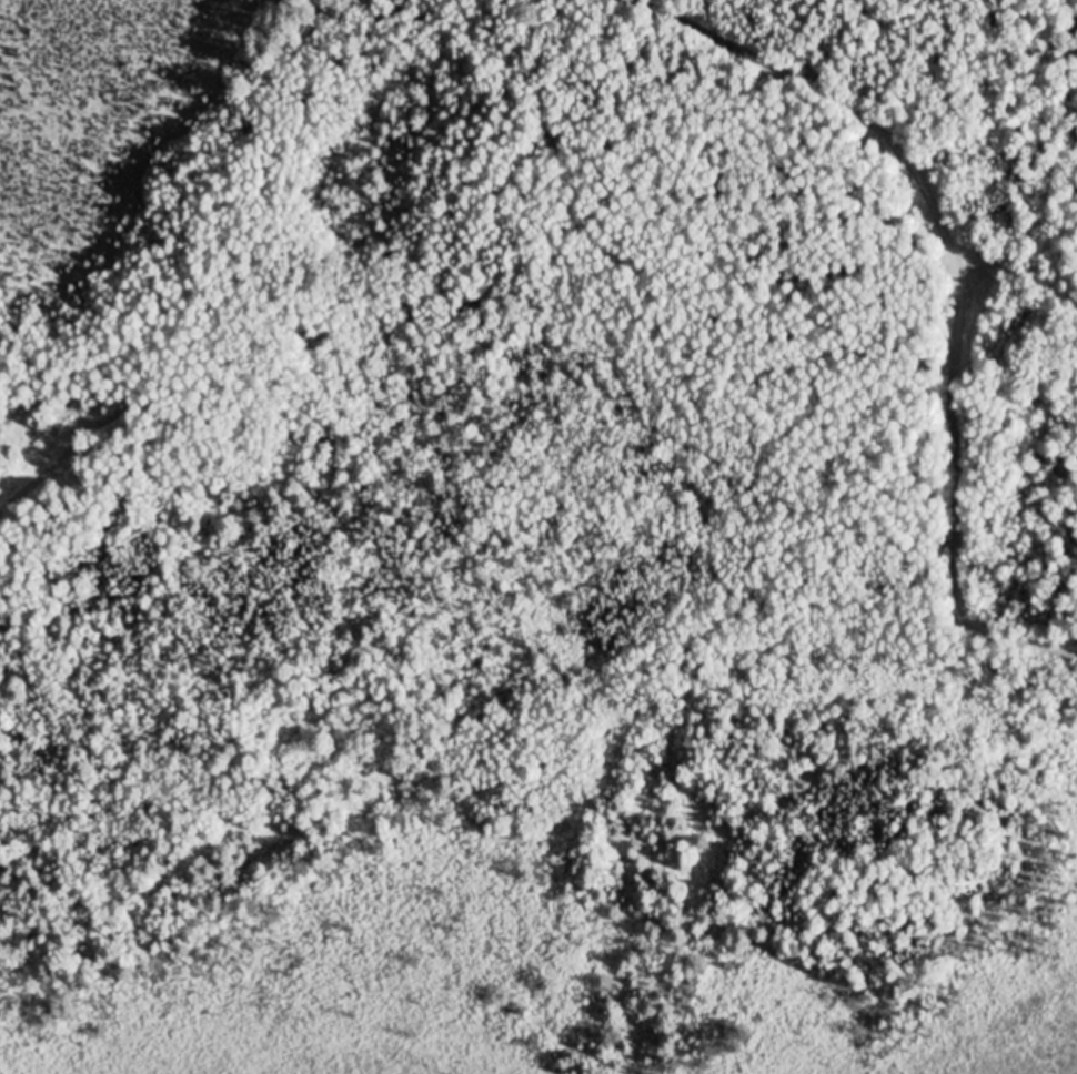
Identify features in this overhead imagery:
road: (955, 288)

